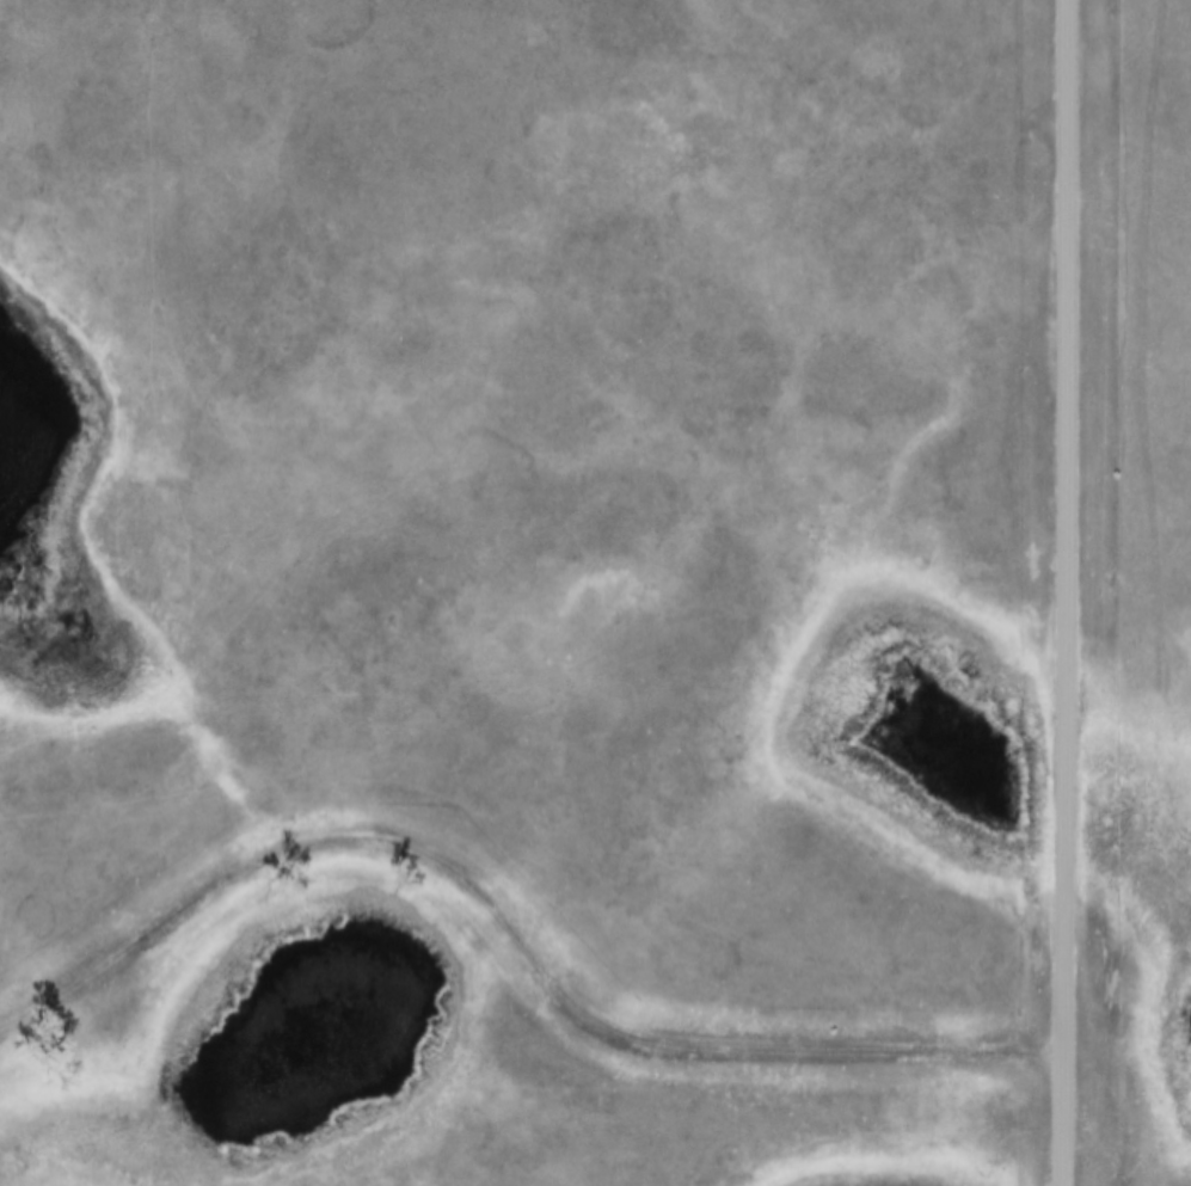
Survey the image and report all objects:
road: (1067, 592)
road: (514, 926)

